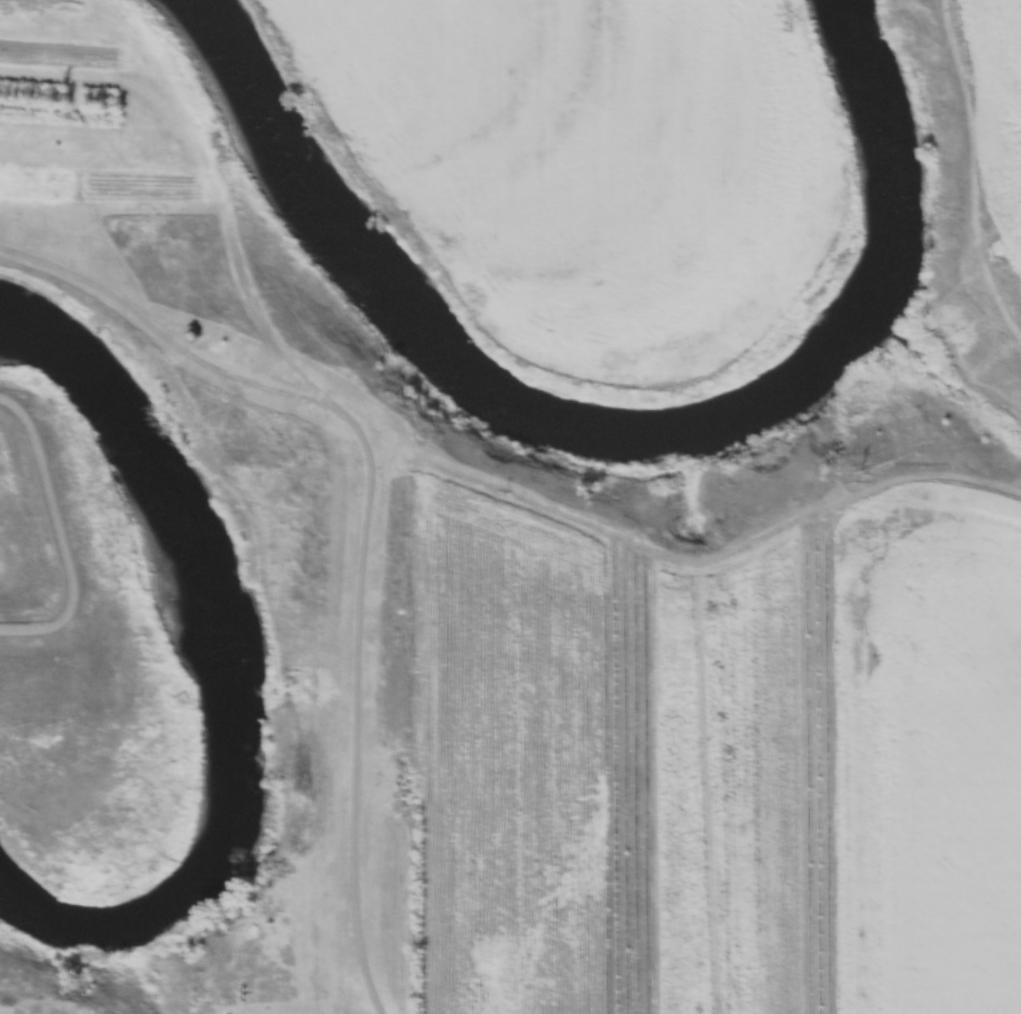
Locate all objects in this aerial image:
river: (598, 441)
river: (212, 681)

